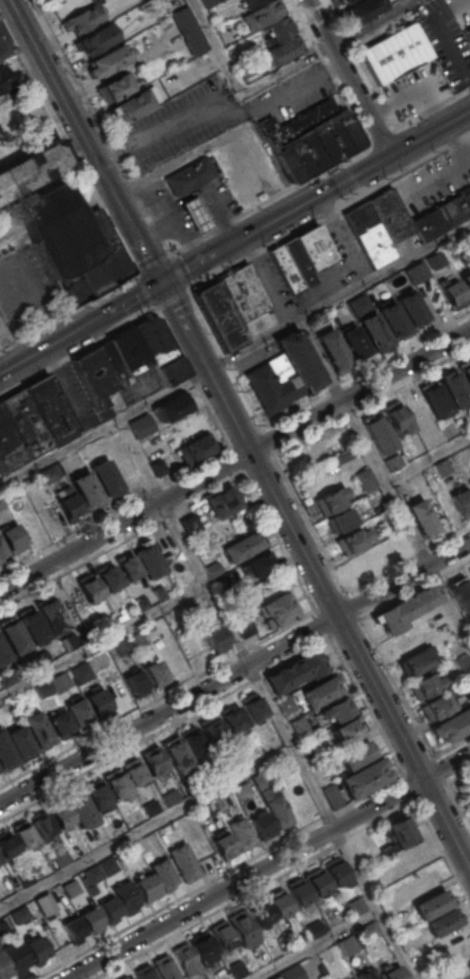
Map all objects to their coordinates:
building: (344, 1)
building: (208, 2)
building: (251, 3)
building: (363, 8)
parking lot: (449, 9)
road: (451, 9)
building: (263, 14)
building: (81, 19)
road: (302, 23)
building: (280, 28)
building: (187, 30)
building: (469, 30)
building: (97, 39)
building: (4, 44)
road: (449, 47)
building: (285, 49)
parking lot: (447, 49)
road: (318, 52)
building: (395, 53)
building: (105, 61)
road: (323, 61)
road: (364, 65)
building: (244, 67)
road: (329, 72)
road: (278, 73)
road: (348, 77)
building: (5, 78)
road: (469, 82)
building: (114, 88)
building: (132, 105)
road: (218, 108)
road: (430, 109)
road: (351, 114)
road: (381, 137)
road: (223, 138)
building: (310, 138)
road: (84, 141)
road: (408, 146)
road: (417, 162)
road: (379, 163)
building: (32, 167)
building: (190, 176)
road: (388, 178)
building: (253, 179)
road: (330, 211)
building: (196, 214)
gas station: (196, 214)
building: (390, 215)
building: (442, 216)
building: (369, 234)
building: (72, 242)
road: (235, 242)
road: (185, 246)
building: (313, 247)
building: (435, 260)
building: (298, 262)
building: (286, 269)
road: (384, 271)
building: (416, 271)
building: (466, 278)
traffic signals: (160, 283)
building: (452, 292)
building: (245, 297)
building: (411, 308)
building: (218, 316)
building: (392, 319)
road: (183, 327)
building: (373, 329)
road: (13, 331)
building: (2, 339)
building: (353, 342)
road: (252, 345)
building: (333, 350)
building: (141, 353)
building: (466, 370)
road: (365, 372)
building: (284, 374)
building: (95, 380)
building: (454, 389)
building: (435, 399)
building: (173, 407)
building: (50, 411)
building: (395, 415)
building: (26, 422)
building: (142, 425)
road: (102, 427)
building: (379, 433)
building: (10, 443)
building: (196, 448)
road: (428, 458)
road: (235, 461)
building: (393, 462)
building: (1, 467)
building: (157, 467)
building: (442, 467)
building: (49, 474)
building: (469, 475)
building: (106, 477)
building: (365, 479)
road: (384, 479)
building: (469, 484)
building: (86, 489)
building: (331, 500)
building: (462, 500)
building: (221, 501)
building: (2, 503)
building: (70, 506)
building: (422, 518)
building: (340, 520)
building: (190, 523)
building: (12, 538)
building: (353, 540)
building: (241, 547)
building: (2, 551)
building: (148, 560)
building: (380, 560)
building: (260, 563)
building: (128, 565)
building: (214, 569)
building: (469, 571)
building: (469, 575)
building: (108, 576)
building: (222, 584)
building: (89, 586)
building: (460, 591)
building: (159, 592)
building: (140, 603)
building: (406, 608)
building: (277, 610)
building: (52, 615)
road: (338, 619)
building: (244, 625)
building: (33, 626)
building: (14, 636)
building: (214, 636)
road: (102, 639)
building: (139, 639)
building: (3, 653)
building: (417, 661)
building: (461, 661)
building: (295, 671)
road: (234, 672)
building: (156, 673)
building: (62, 680)
building: (137, 683)
building: (424, 685)
building: (44, 688)
building: (318, 690)
road: (266, 698)
building: (97, 701)
building: (286, 704)
building: (435, 706)
building: (252, 707)
building: (336, 709)
building: (77, 710)
building: (233, 719)
building: (61, 724)
building: (452, 725)
building: (299, 728)
building: (37, 730)
building: (210, 730)
building: (348, 730)
building: (192, 740)
building: (21, 742)
building: (275, 743)
road: (452, 747)
road: (127, 748)
building: (6, 752)
building: (177, 754)
building: (354, 754)
building: (154, 760)
road: (440, 771)
building: (135, 772)
building: (0, 775)
building: (364, 777)
road: (458, 777)
building: (117, 782)
building: (468, 783)
building: (242, 790)
building: (98, 794)
building: (332, 795)
building: (170, 797)
building: (273, 798)
building: (220, 802)
road: (458, 805)
building: (81, 808)
building: (151, 808)
building: (60, 814)
building: (42, 825)
building: (262, 825)
road: (146, 827)
building: (402, 831)
building: (241, 833)
building: (24, 834)
building: (7, 844)
building: (225, 845)
building: (387, 852)
building: (60, 857)
building: (0, 860)
building: (184, 861)
building: (108, 866)
road: (268, 866)
building: (337, 871)
building: (164, 873)
building: (93, 874)
building: (27, 876)
building: (318, 881)
building: (72, 887)
building: (148, 888)
building: (299, 892)
building: (47, 896)
building: (127, 896)
building: (279, 903)
building: (433, 904)
building: (358, 905)
building: (110, 909)
building: (260, 913)
building: (21, 914)
building: (336, 917)
building: (91, 920)
building: (444, 922)
building: (5, 926)
building: (316, 928)
building: (244, 929)
building: (372, 929)
building: (74, 930)
building: (223, 936)
road: (317, 945)
building: (349, 945)
building: (204, 947)
building: (36, 949)
building: (17, 956)
building: (186, 958)
building: (460, 961)
building: (5, 967)
building: (165, 967)
building: (238, 969)
building: (145, 972)
building: (293, 973)
building: (368, 973)
building: (394, 973)
road: (459, 973)
building: (127, 976)
building: (278, 977)

